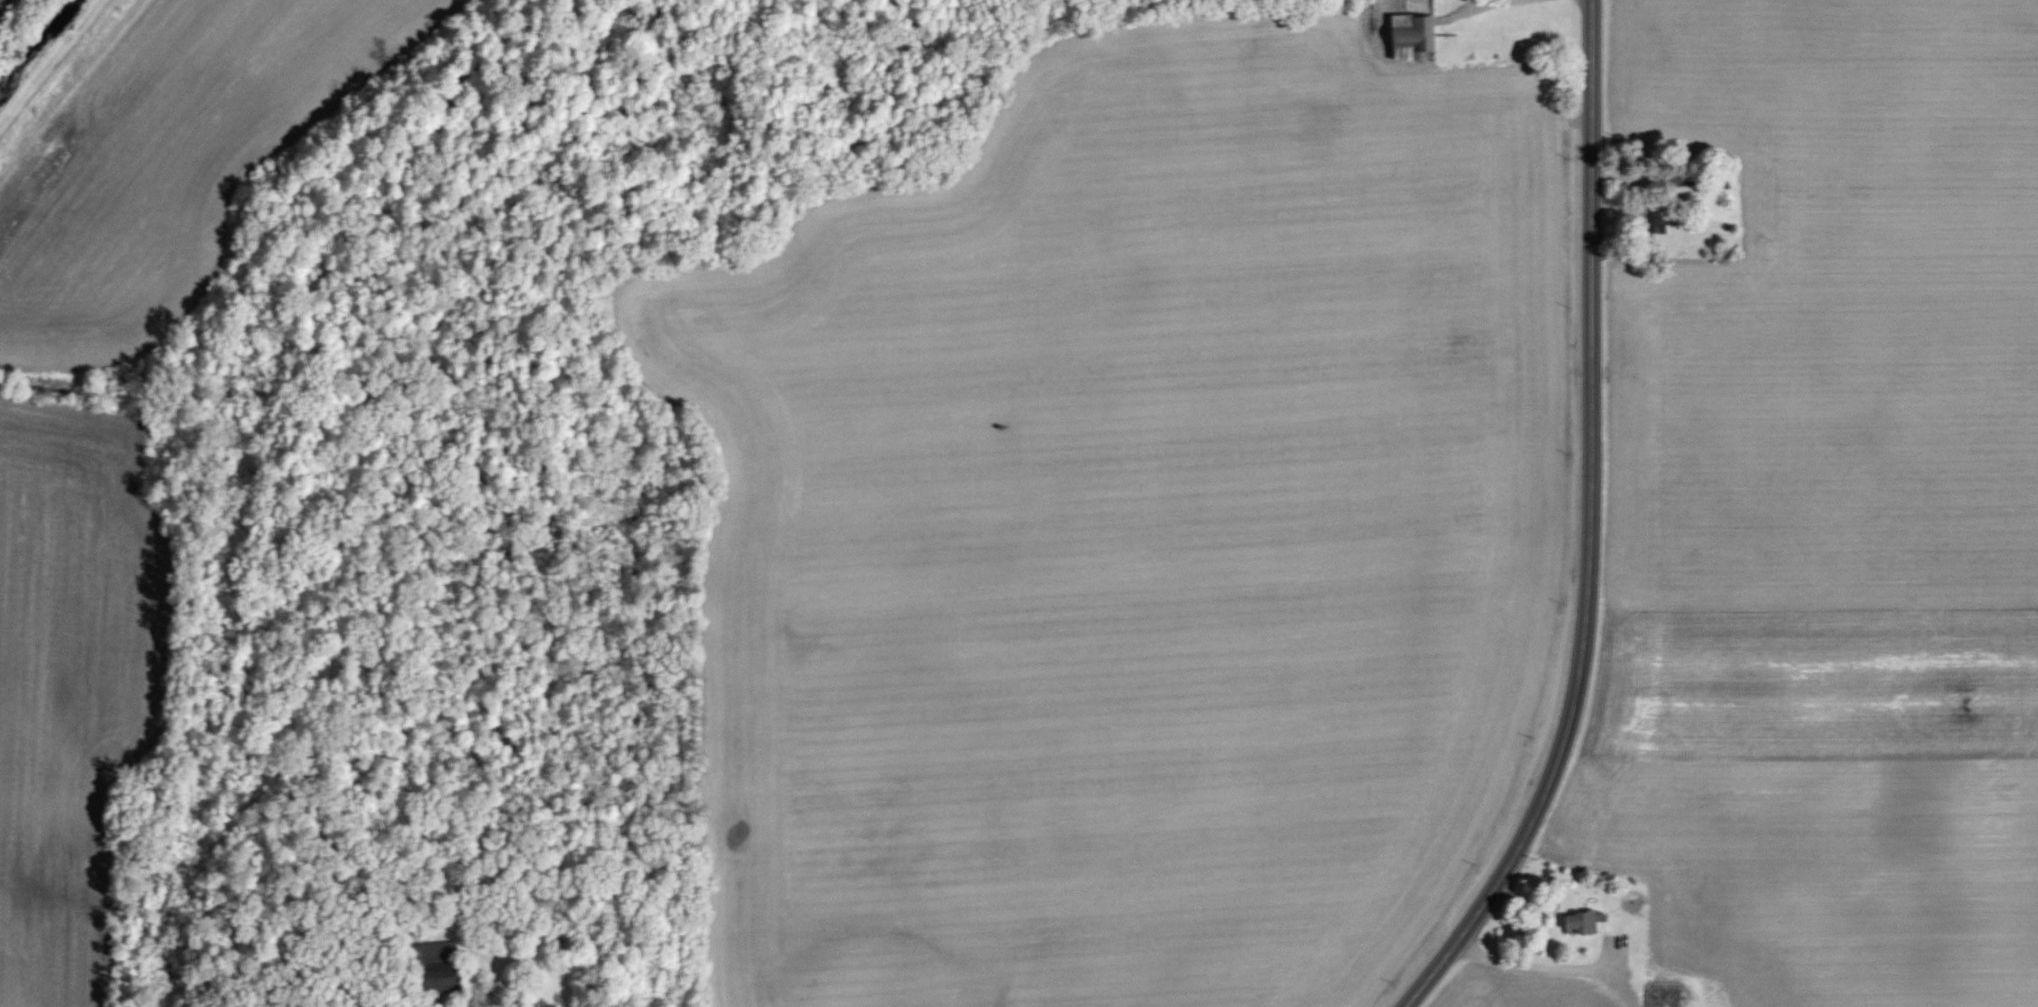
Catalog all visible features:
road: (1458, 7)
building: (1408, 33)
road: (1590, 527)
building: (1574, 923)
road: (534, 964)
road: (1542, 969)
building: (426, 984)

